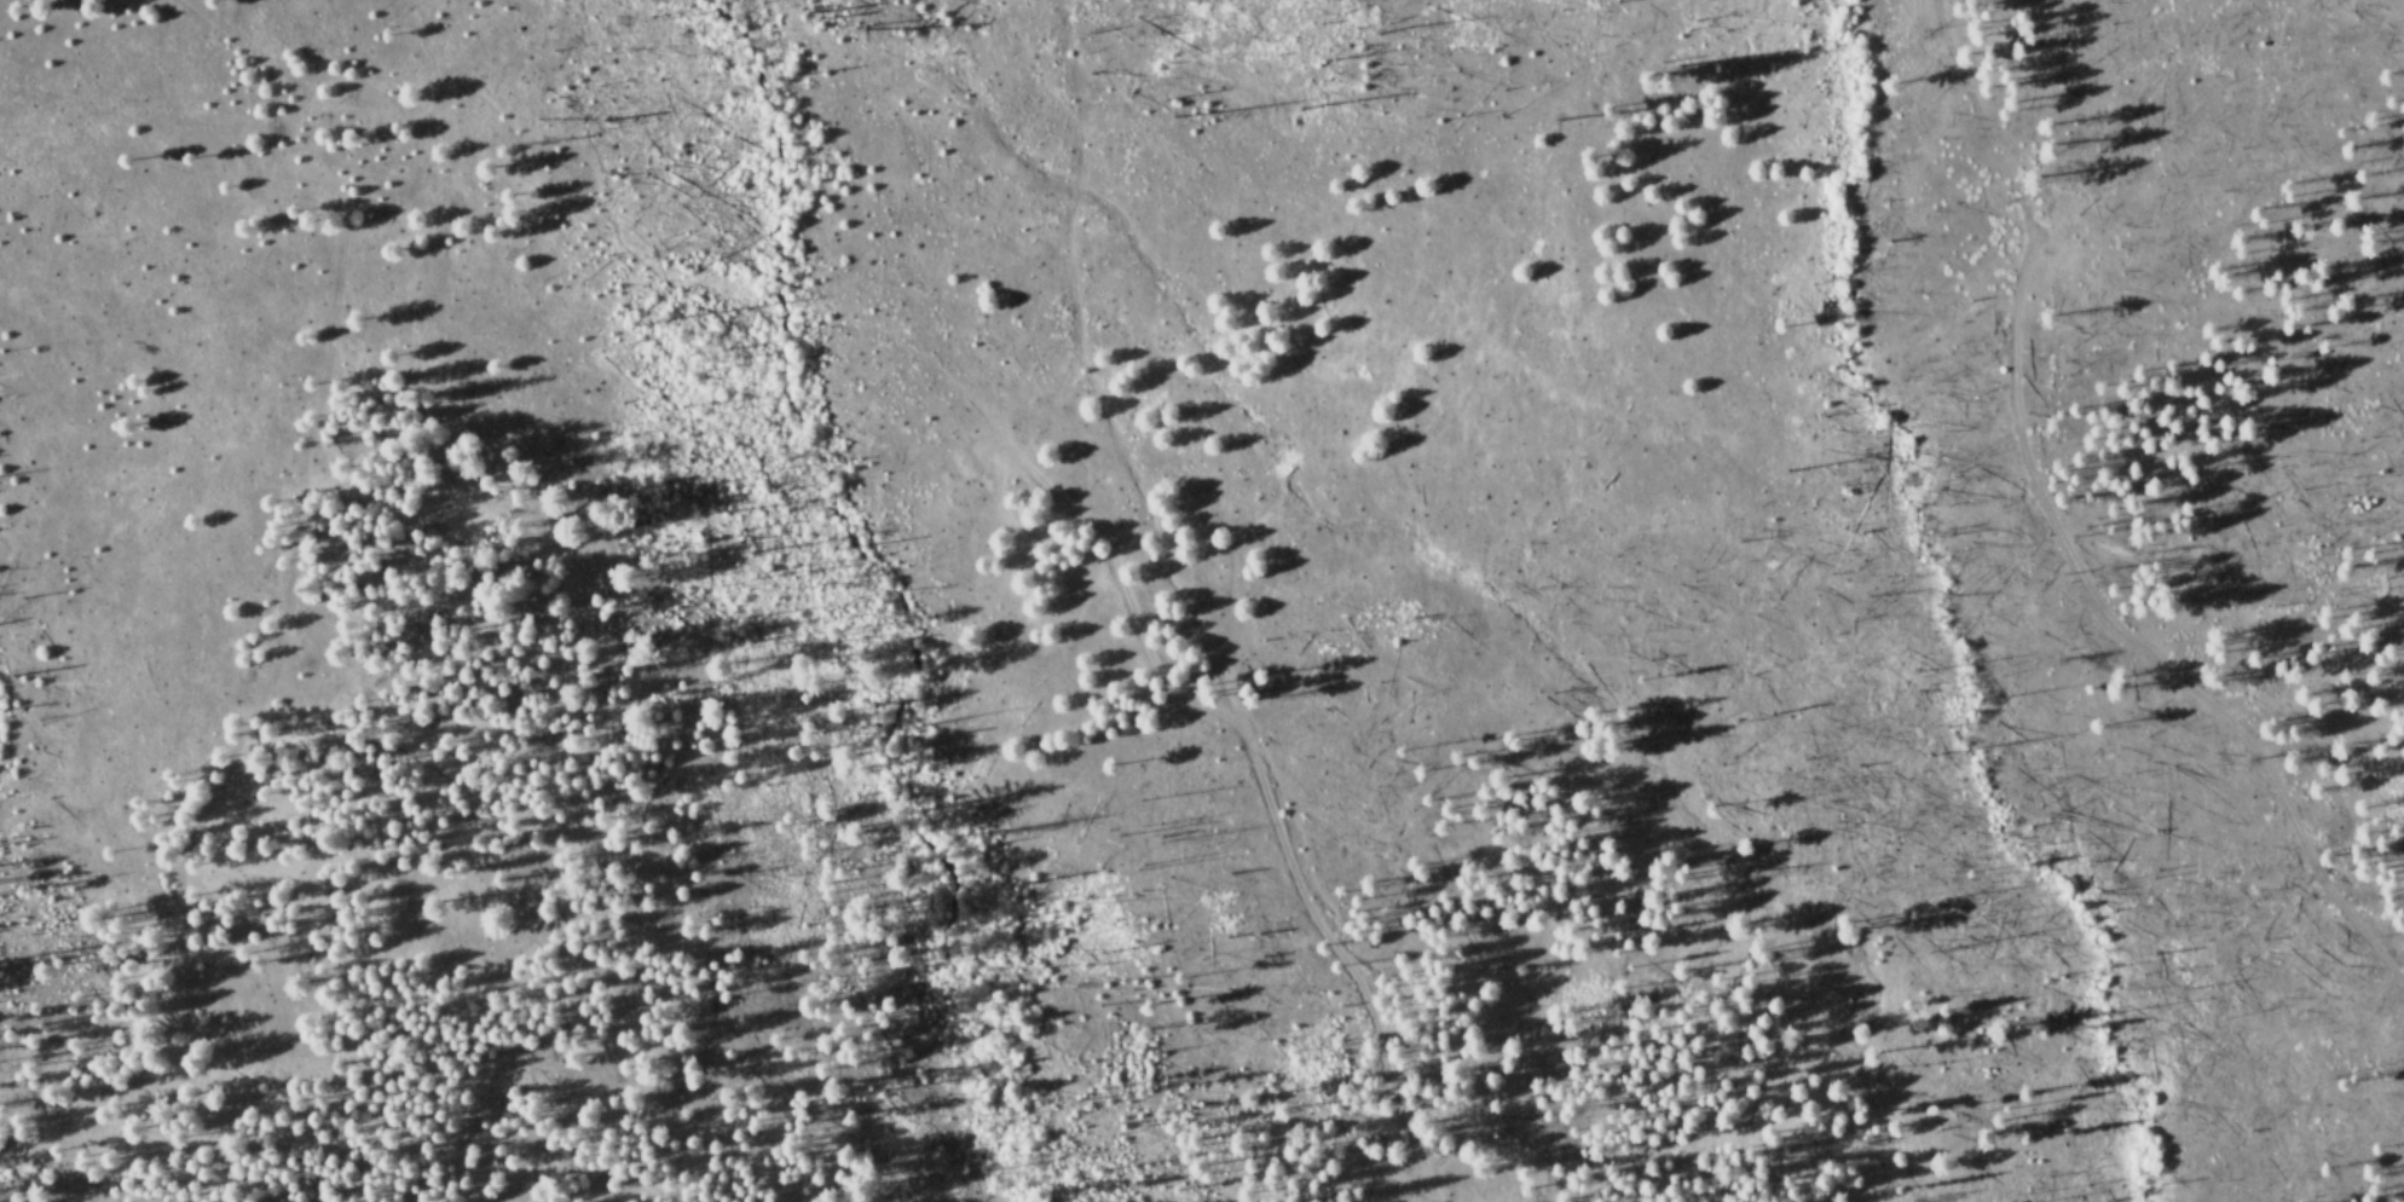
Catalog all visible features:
road: (2123, 629)
road: (1345, 937)

